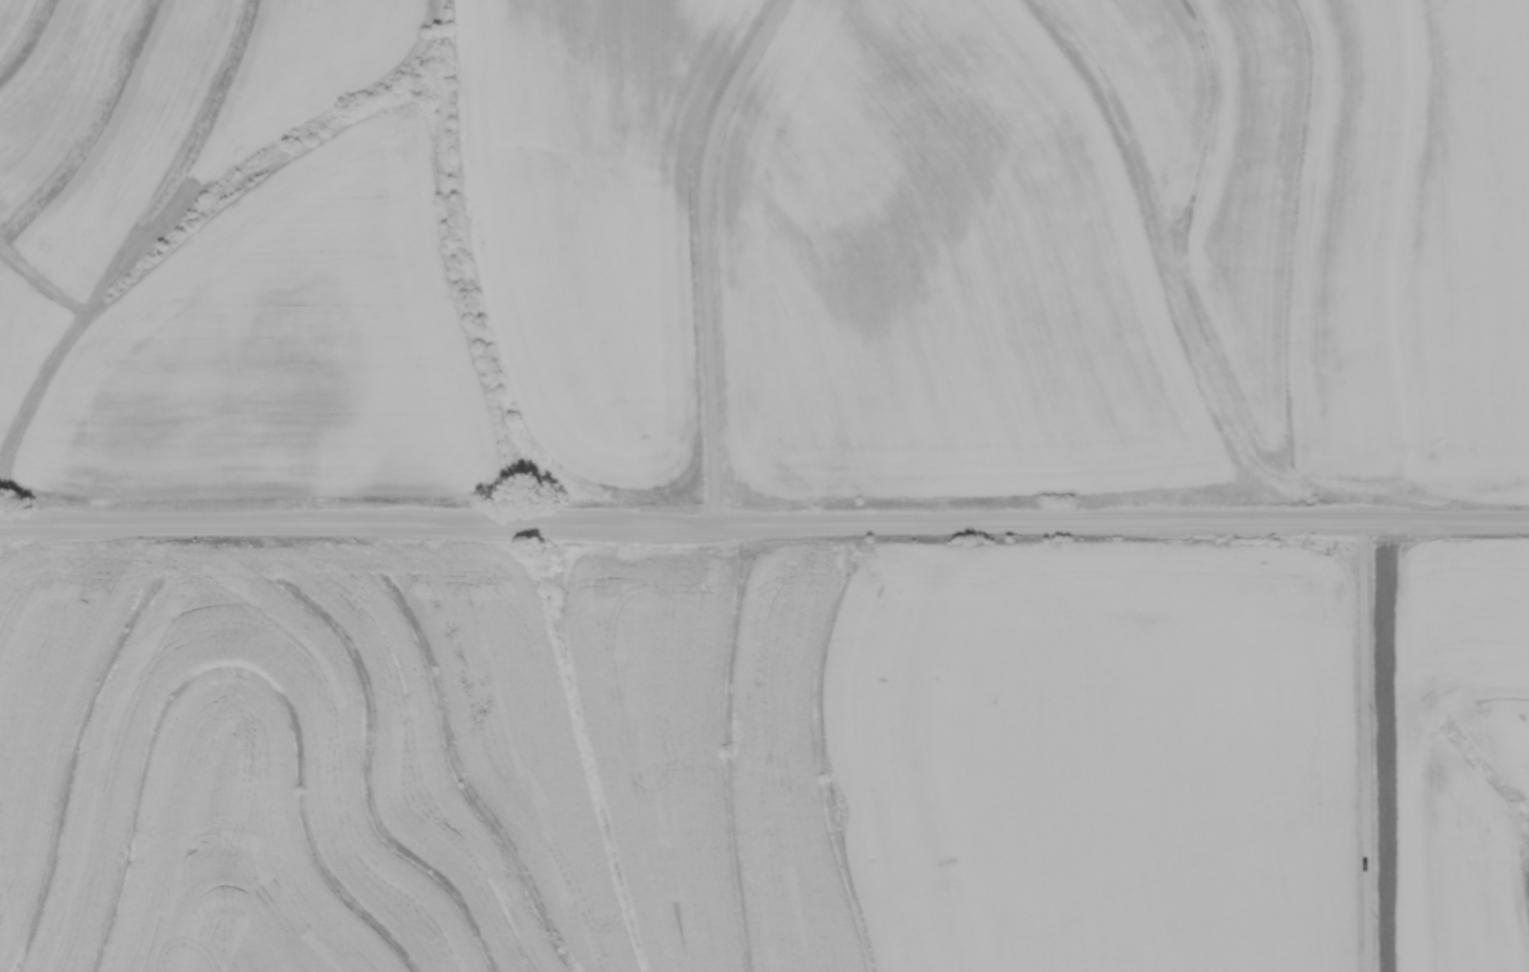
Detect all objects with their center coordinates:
road: (704, 253)
road: (764, 523)
road: (1363, 746)

